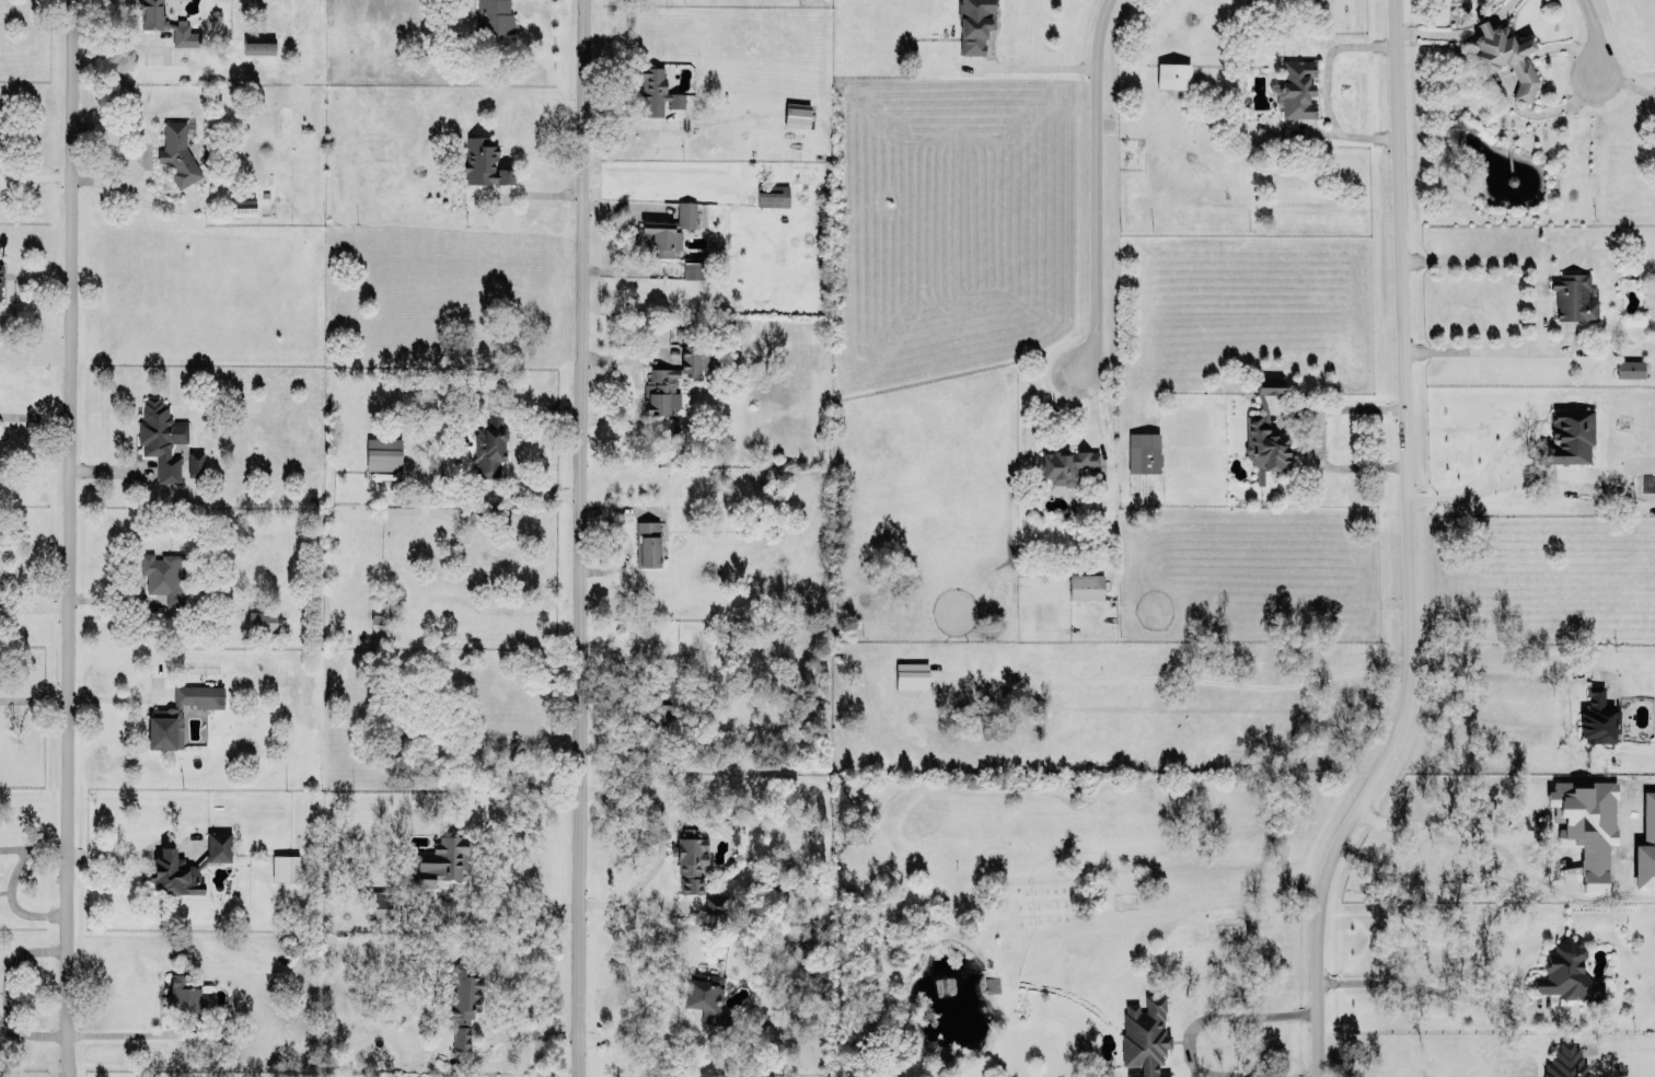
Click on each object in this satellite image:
building: (494, 15)
building: (165, 22)
building: (974, 24)
road: (1590, 34)
building: (257, 44)
building: (1486, 62)
road: (1027, 68)
building: (1172, 74)
road: (1624, 82)
building: (1297, 88)
building: (656, 89)
road: (1324, 90)
building: (797, 114)
building: (178, 148)
road: (144, 154)
building: (483, 160)
road: (34, 176)
road: (1088, 183)
building: (773, 194)
building: (243, 206)
building: (685, 212)
building: (661, 236)
building: (694, 268)
building: (0, 279)
building: (1573, 296)
road: (1541, 303)
building: (1630, 367)
building: (1270, 384)
building: (659, 389)
road: (520, 431)
road: (1316, 435)
building: (161, 436)
building: (1569, 436)
building: (1264, 442)
building: (489, 444)
building: (1143, 451)
building: (383, 452)
building: (195, 462)
building: (1065, 463)
road: (1483, 484)
road: (496, 496)
road: (71, 538)
road: (583, 538)
building: (646, 542)
road: (1409, 548)
building: (163, 575)
building: (1086, 584)
building: (383, 612)
building: (261, 621)
road: (1486, 674)
building: (911, 675)
road: (1179, 676)
road: (35, 697)
building: (180, 711)
building: (662, 711)
building: (1598, 715)
road: (1442, 825)
road: (666, 841)
road: (34, 844)
road: (132, 852)
building: (688, 856)
building: (442, 859)
building: (182, 866)
building: (285, 866)
road: (12, 901)
building: (378, 902)
building: (715, 903)
road: (488, 912)
building: (1567, 971)
road: (656, 981)
road: (1425, 987)
road: (8, 992)
building: (705, 995)
building: (184, 997)
building: (462, 998)
road: (1193, 1026)
road: (123, 1031)
road: (646, 1034)
road: (498, 1035)
building: (1145, 1035)
building: (1566, 1062)

